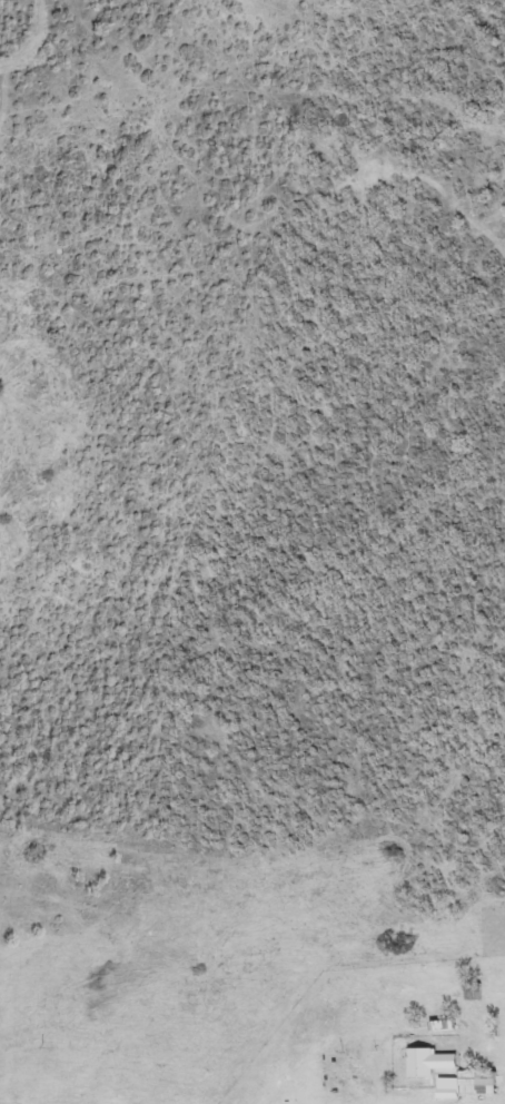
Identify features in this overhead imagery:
building: (450, 1073)

